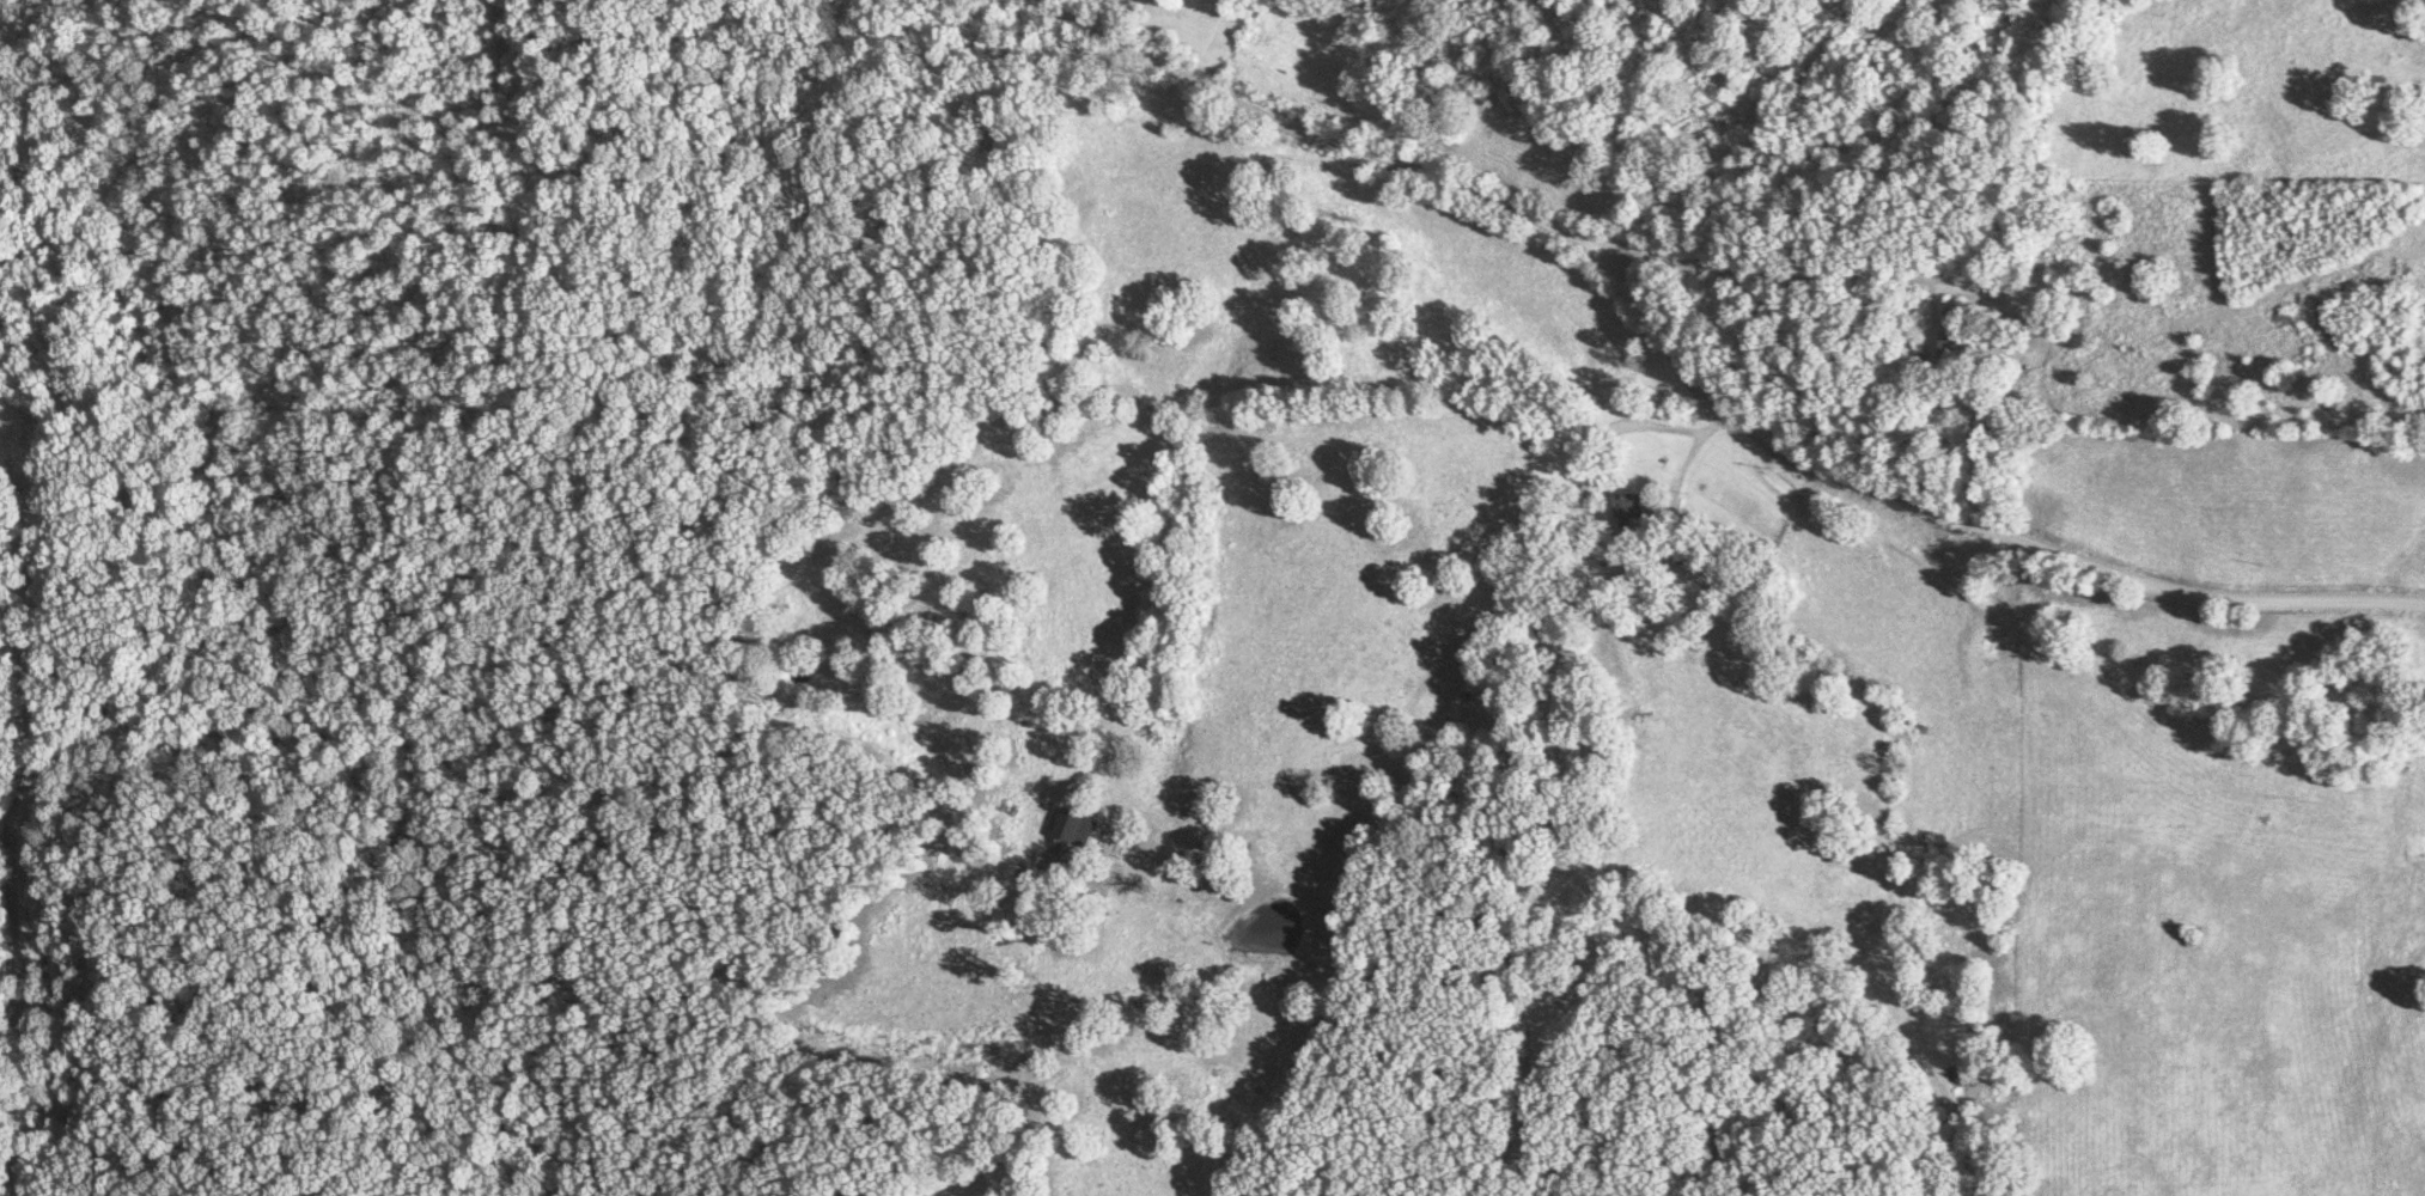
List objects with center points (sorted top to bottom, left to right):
road: (1868, 147)
road: (1780, 275)
building: (1964, 343)
road: (1687, 388)
road: (1597, 527)
building: (1074, 828)

